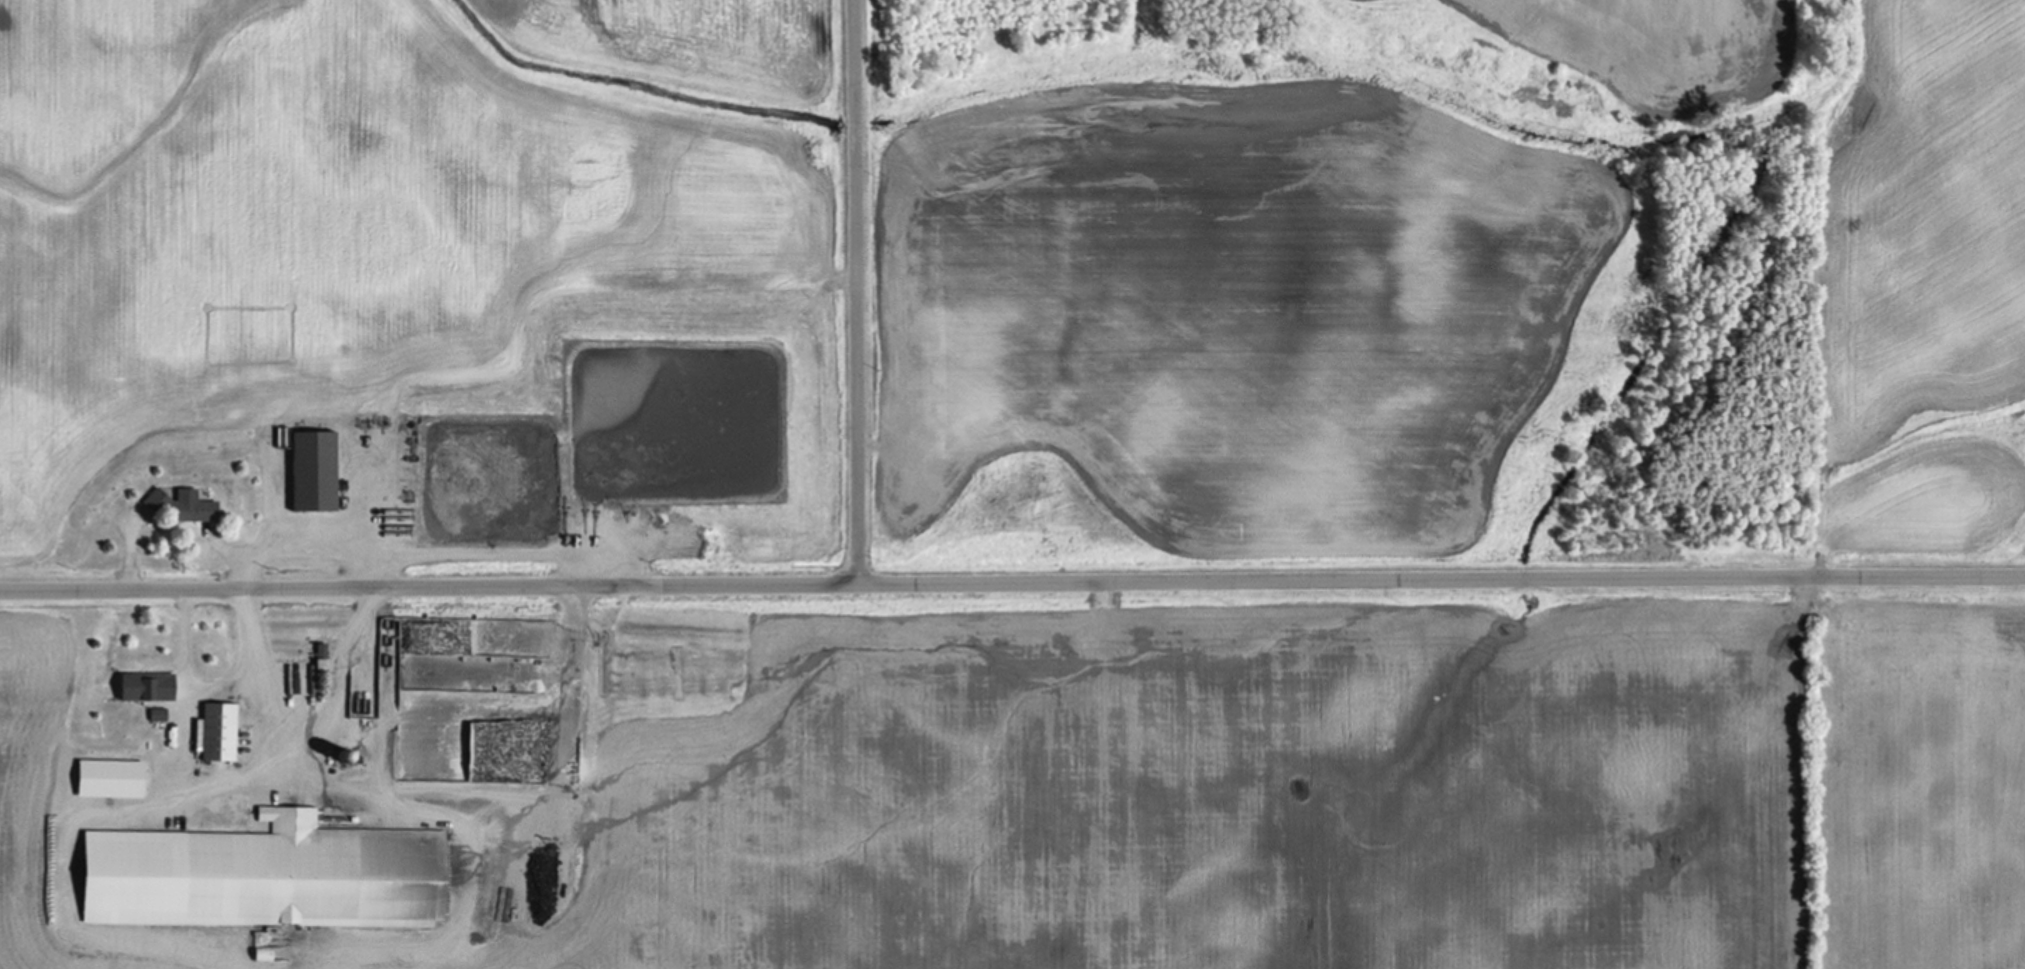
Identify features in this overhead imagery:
road: (855, 291)
building: (317, 471)
building: (186, 506)
road: (258, 548)
road: (132, 558)
road: (1012, 581)
road: (185, 675)
building: (148, 688)
building: (221, 733)
building: (112, 779)
building: (257, 877)

